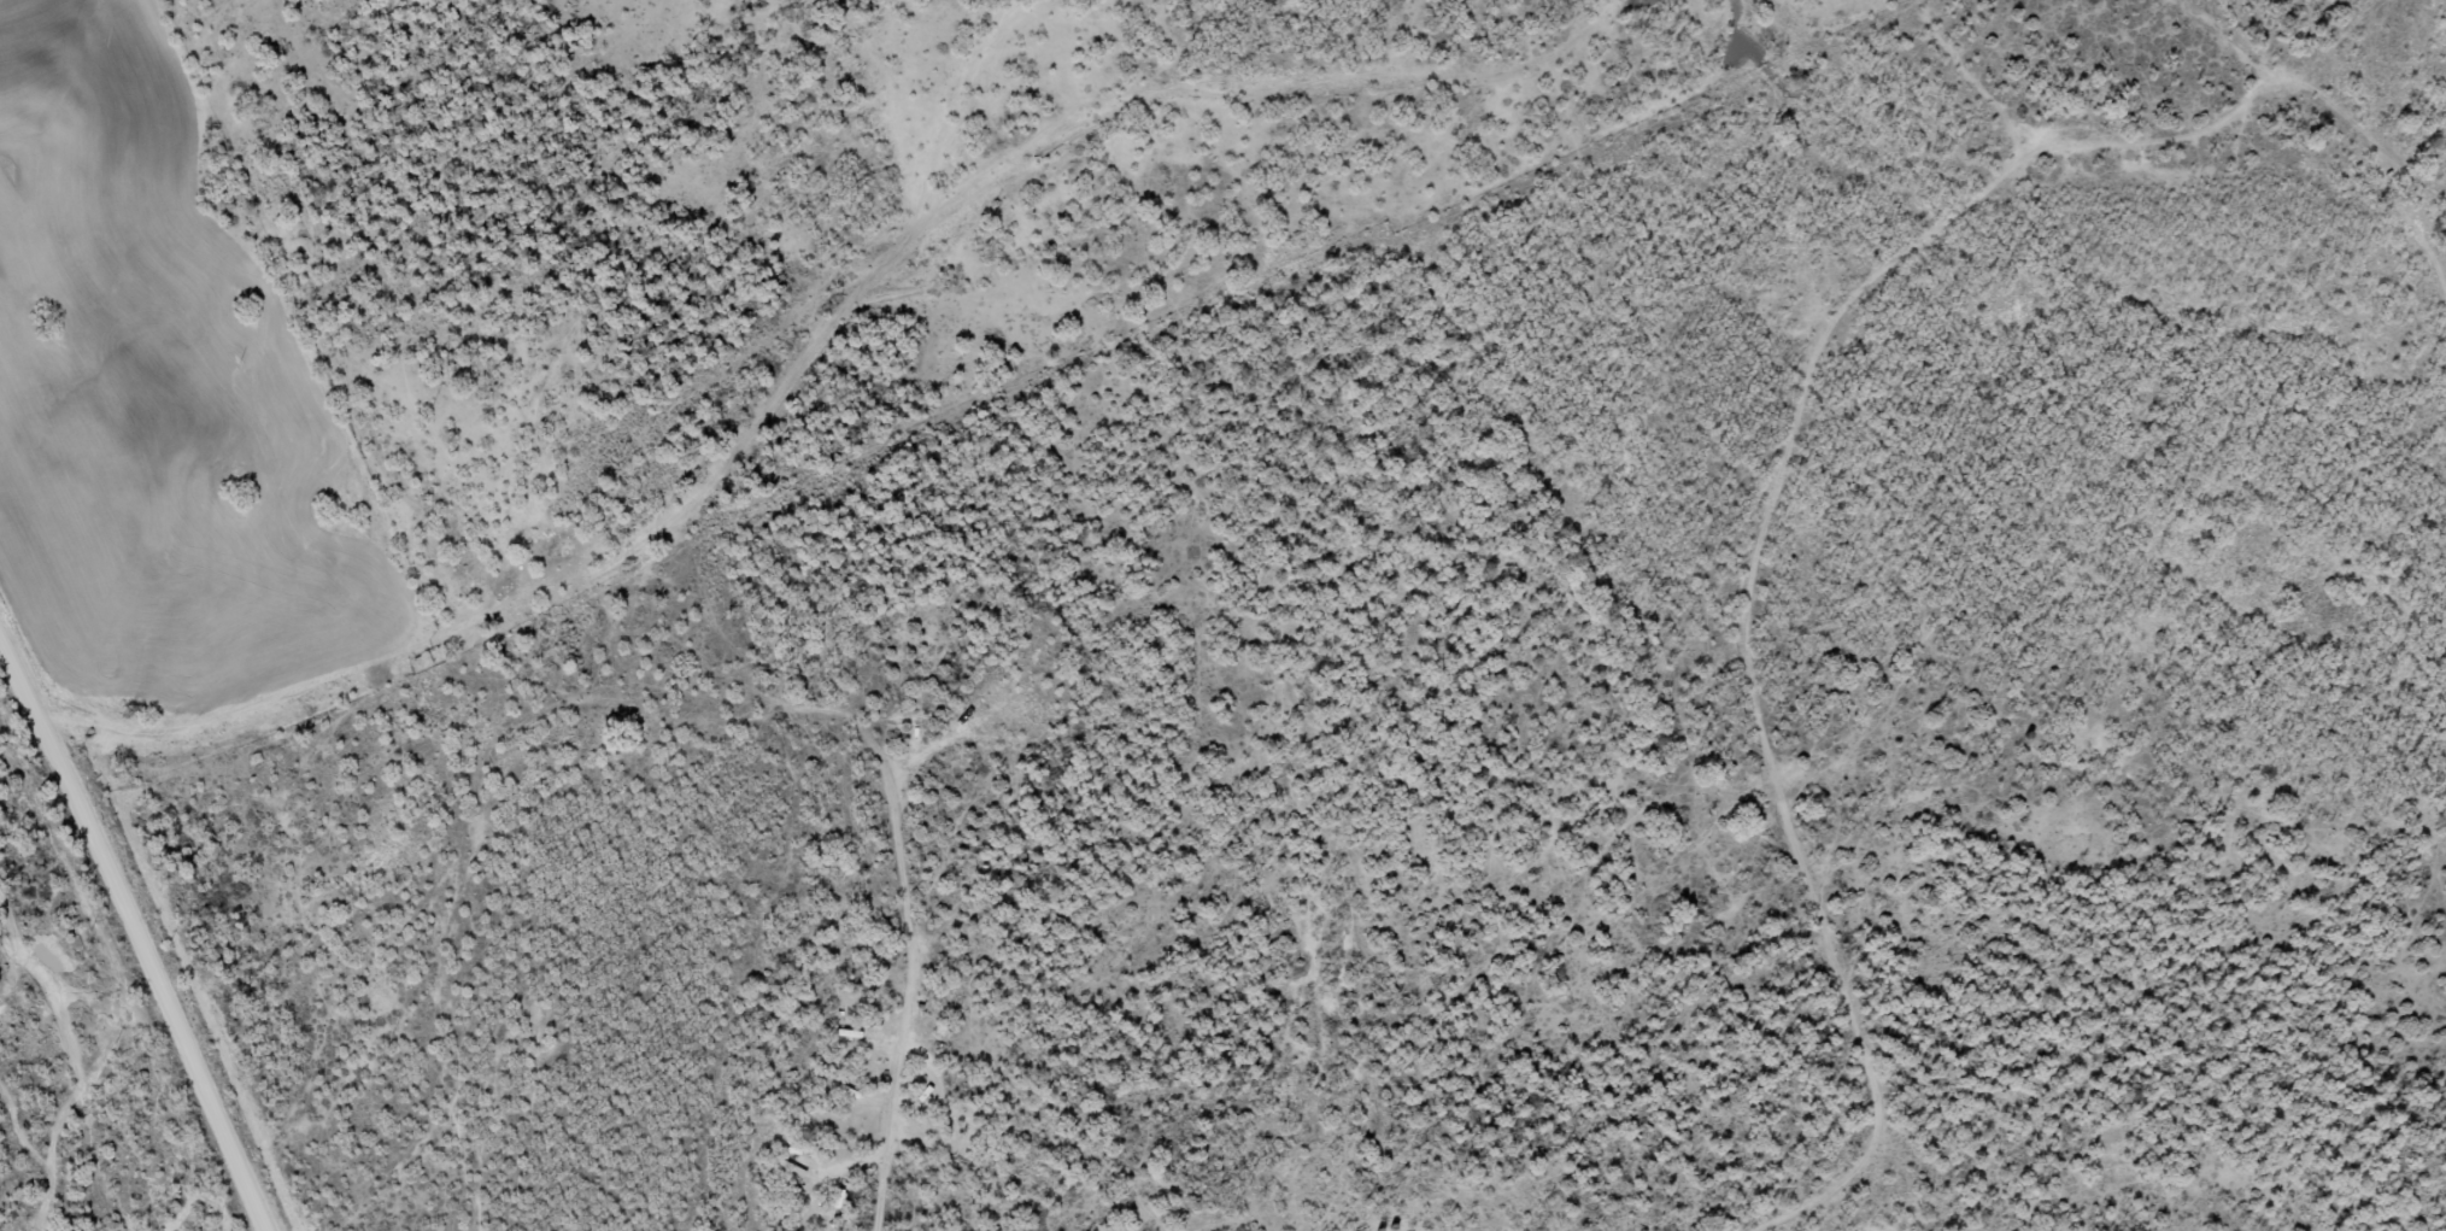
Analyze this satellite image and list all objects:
road: (779, 458)
road: (1811, 506)
road: (136, 910)
road: (914, 1000)

